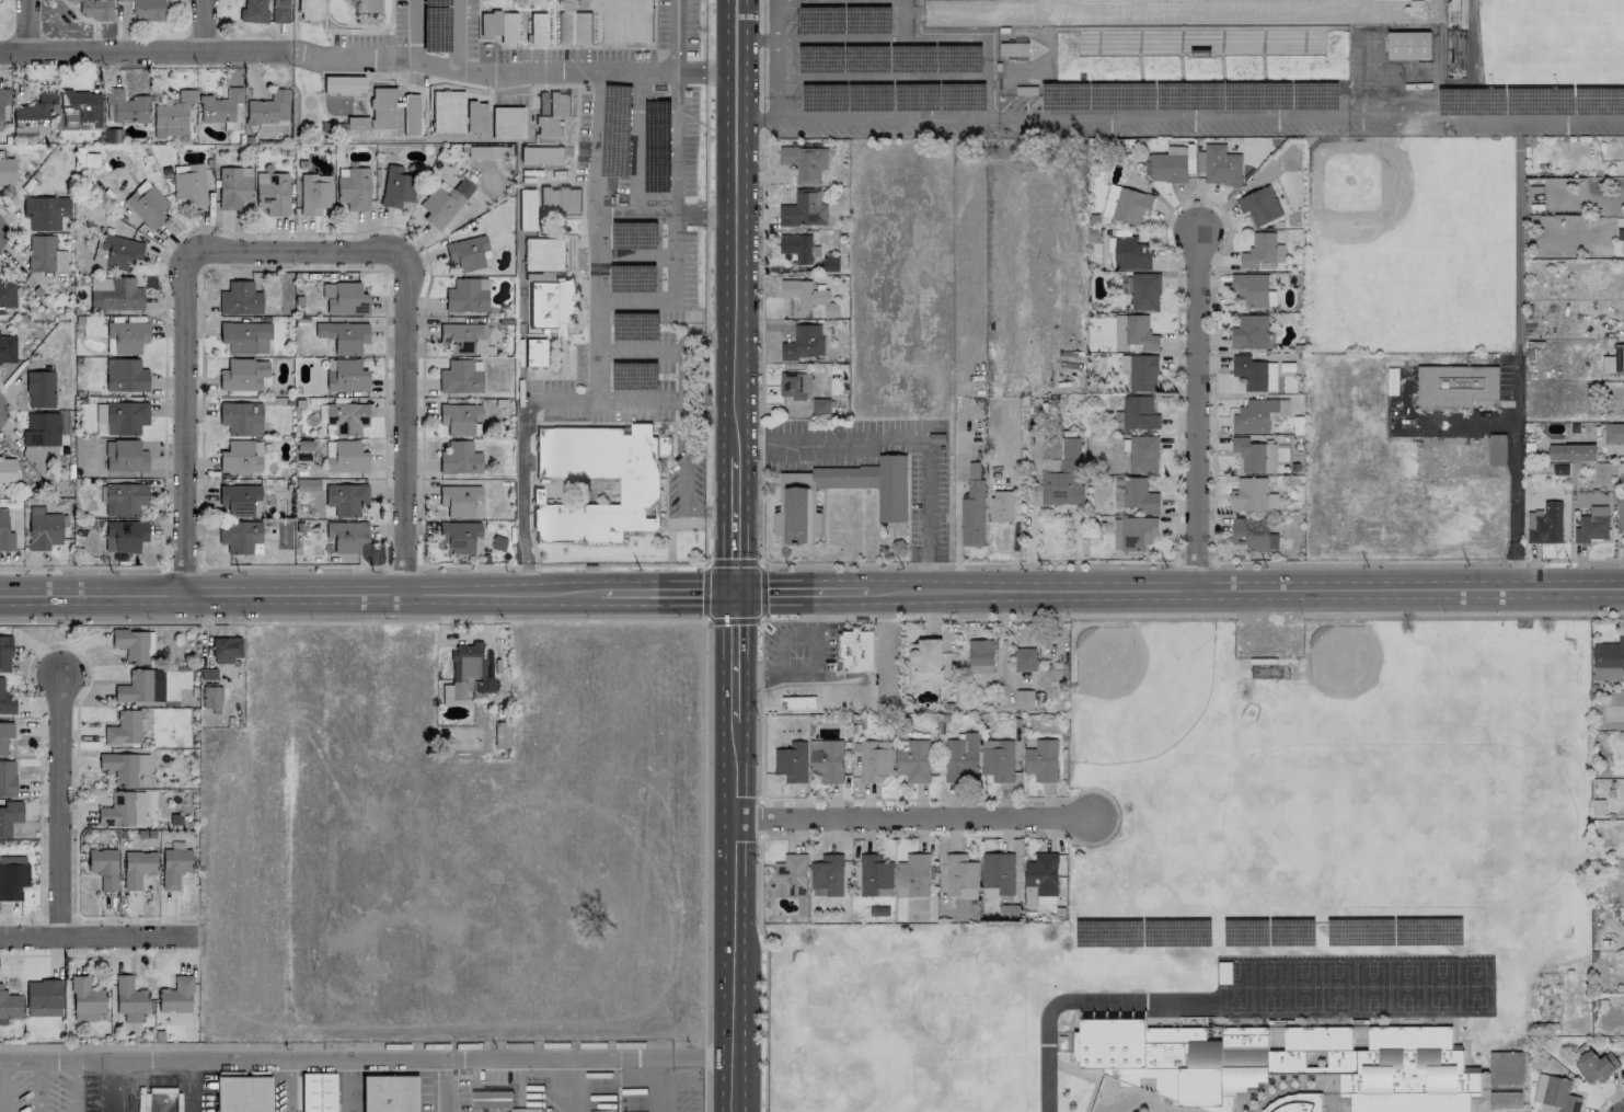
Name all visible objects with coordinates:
building: (366, 5)
building: (309, 8)
building: (94, 9)
building: (147, 9)
building: (253, 11)
building: (279, 11)
road: (324, 14)
building: (626, 21)
road: (356, 24)
parking lot: (435, 24)
road: (203, 25)
road: (388, 25)
parking lot: (675, 25)
road: (27, 26)
building: (574, 28)
building: (539, 30)
road: (352, 31)
building: (1194, 32)
road: (901, 36)
road: (329, 37)
road: (673, 37)
road: (839, 38)
parking lot: (358, 39)
road: (749, 39)
road: (769, 39)
road: (976, 44)
building: (1408, 46)
park: (1552, 47)
building: (1020, 50)
road: (143, 51)
road: (389, 51)
road: (350, 58)
road: (776, 59)
road: (543, 65)
road: (718, 73)
road: (649, 76)
road: (942, 76)
road: (839, 77)
building: (342, 82)
park: (309, 101)
building: (3, 105)
building: (219, 105)
building: (126, 106)
building: (380, 106)
building: (268, 107)
building: (80, 108)
building: (446, 110)
building: (550, 112)
building: (33, 114)
building: (408, 114)
building: (172, 115)
road: (1311, 115)
building: (475, 117)
road: (595, 117)
road: (887, 117)
road: (573, 118)
road: (756, 119)
building: (507, 123)
building: (356, 124)
parking lot: (656, 141)
road: (675, 147)
road: (636, 148)
building: (541, 156)
building: (90, 160)
building: (805, 163)
building: (1218, 164)
building: (1167, 168)
building: (7, 172)
road: (550, 179)
road: (576, 182)
building: (188, 183)
building: (398, 185)
building: (234, 187)
building: (353, 187)
building: (272, 193)
building: (314, 194)
building: (560, 200)
building: (1110, 200)
building: (444, 202)
building: (146, 204)
building: (1131, 206)
building: (1259, 206)
building: (527, 209)
building: (804, 209)
building: (45, 211)
road: (760, 213)
road: (719, 217)
road: (648, 218)
road: (737, 228)
road: (13, 232)
road: (356, 232)
road: (535, 233)
road: (581, 233)
building: (796, 248)
park: (1410, 248)
road: (293, 249)
building: (117, 252)
building: (1263, 252)
building: (467, 253)
building: (45, 254)
building: (543, 254)
building: (1130, 254)
road: (568, 268)
parking lot: (649, 272)
road: (705, 282)
building: (1251, 288)
building: (7, 293)
building: (1144, 293)
building: (114, 294)
building: (465, 296)
building: (239, 298)
building: (344, 298)
road: (580, 299)
building: (807, 300)
building: (550, 303)
building: (1251, 332)
building: (1133, 334)
building: (126, 335)
building: (343, 335)
building: (244, 337)
building: (462, 337)
building: (803, 343)
building: (7, 349)
parking lot: (640, 351)
building: (534, 352)
road: (1517, 355)
building: (1613, 362)
building: (1140, 372)
building: (1249, 372)
building: (125, 375)
building: (242, 375)
building: (346, 376)
building: (1269, 376)
building: (459, 377)
building: (794, 386)
building: (1454, 387)
building: (39, 389)
parking lot: (607, 400)
road: (641, 402)
road: (568, 403)
road: (12, 410)
road: (695, 410)
road: (723, 411)
building: (1139, 413)
road: (1196, 414)
building: (1254, 416)
building: (119, 417)
building: (240, 417)
building: (345, 419)
building: (459, 419)
road: (407, 420)
road: (181, 422)
building: (41, 429)
building: (1613, 433)
road: (901, 443)
building: (1497, 450)
building: (1579, 452)
building: (1143, 455)
building: (125, 456)
building: (1254, 456)
road: (1617, 456)
building: (238, 457)
building: (344, 457)
building: (460, 459)
road: (682, 459)
building: (7, 470)
parking lot: (683, 474)
road: (520, 475)
building: (1064, 475)
building: (872, 483)
building: (638, 490)
road: (759, 495)
building: (1139, 495)
building: (1253, 496)
building: (125, 498)
building: (345, 498)
building: (240, 500)
building: (460, 500)
building: (1001, 506)
road: (692, 509)
road: (718, 509)
building: (972, 509)
building: (1620, 512)
building: (793, 516)
road: (529, 518)
building: (1545, 524)
road: (737, 525)
road: (688, 526)
building: (1592, 526)
building: (43, 528)
building: (4, 532)
building: (1132, 534)
building: (1253, 535)
building: (124, 536)
building: (239, 536)
building: (346, 536)
building: (460, 537)
road: (669, 540)
road: (1417, 560)
road: (1194, 561)
road: (967, 563)
road: (526, 574)
road: (1244, 588)
road: (801, 592)
road: (299, 593)
road: (668, 593)
road: (1053, 618)
road: (596, 621)
road: (703, 621)
building: (131, 644)
road: (782, 644)
building: (224, 649)
building: (855, 650)
building: (4, 653)
building: (981, 656)
building: (1024, 658)
road: (760, 660)
road: (737, 661)
building: (925, 661)
building: (1608, 661)
road: (88, 662)
road: (813, 669)
building: (464, 673)
park: (1363, 679)
building: (140, 687)
park: (1135, 688)
building: (210, 697)
building: (1024, 699)
building: (5, 700)
building: (797, 702)
building: (124, 727)
building: (4, 735)
building: (500, 735)
building: (961, 758)
building: (998, 759)
building: (827, 760)
building: (875, 760)
building: (912, 760)
building: (1041, 760)
building: (792, 763)
building: (119, 767)
building: (7, 778)
road: (59, 803)
building: (123, 810)
building: (9, 816)
road: (760, 819)
road: (906, 823)
park: (1349, 823)
building: (103, 867)
building: (173, 867)
building: (137, 868)
building: (998, 872)
building: (959, 874)
building: (1043, 874)
building: (875, 875)
building: (827, 876)
building: (912, 876)
building: (12, 880)
building: (1040, 901)
road: (734, 919)
road: (95, 938)
road: (763, 944)
road: (97, 954)
building: (1223, 964)
building: (1223, 970)
building: (1223, 975)
building: (1224, 981)
park: (1404, 985)
park: (1267, 986)
park: (1301, 986)
park: (1336, 986)
park: (1370, 986)
park: (1440, 986)
park: (1474, 986)
park: (1234, 987)
building: (175, 996)
building: (43, 998)
building: (129, 999)
building: (84, 1000)
road: (1076, 1001)
building: (9, 1006)
park: (907, 1016)
road: (366, 1058)
building: (1282, 1063)
building: (1594, 1066)
building: (1504, 1068)
road: (2, 1086)
road: (38, 1086)
road: (74, 1086)
road: (108, 1086)
road: (191, 1086)
road: (288, 1086)
parking lot: (640, 1089)
parking lot: (39, 1091)
building: (318, 1091)
building: (243, 1093)
building: (389, 1093)
building: (1559, 1094)
road: (1606, 1098)
building: (489, 1099)
building: (1505, 1100)
building: (1295, 1103)

